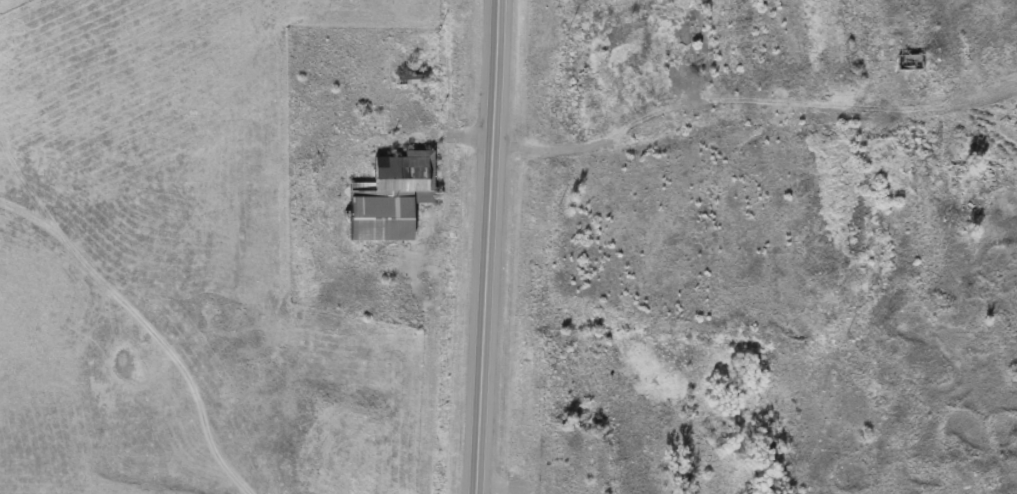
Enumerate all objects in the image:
building: (908, 61)
building: (389, 197)
road: (469, 246)
building: (563, 480)

